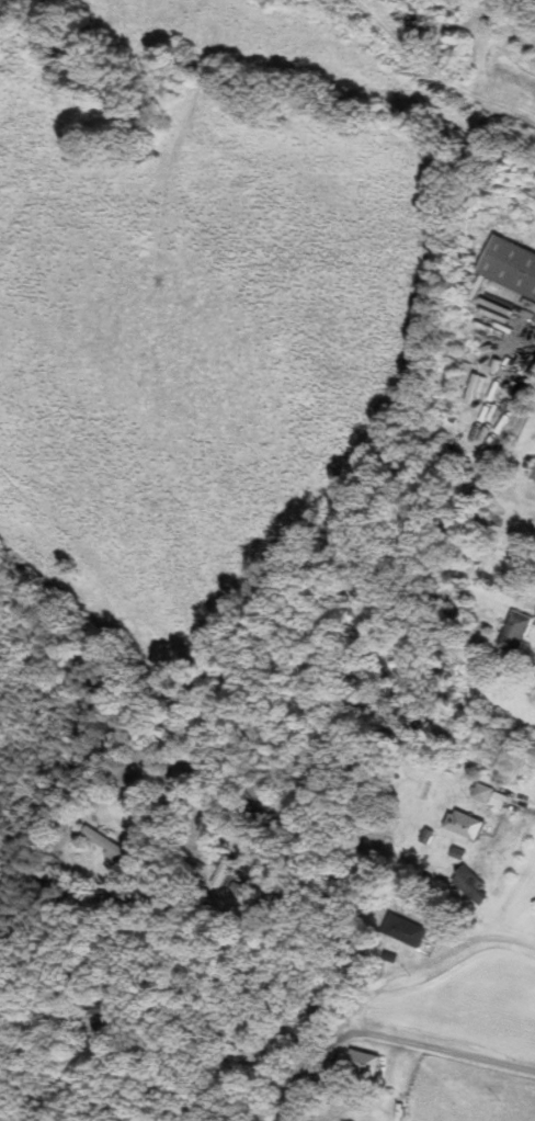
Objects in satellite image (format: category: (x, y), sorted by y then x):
road: (525, 809)
road: (117, 972)
road: (360, 1005)
road: (314, 1067)

